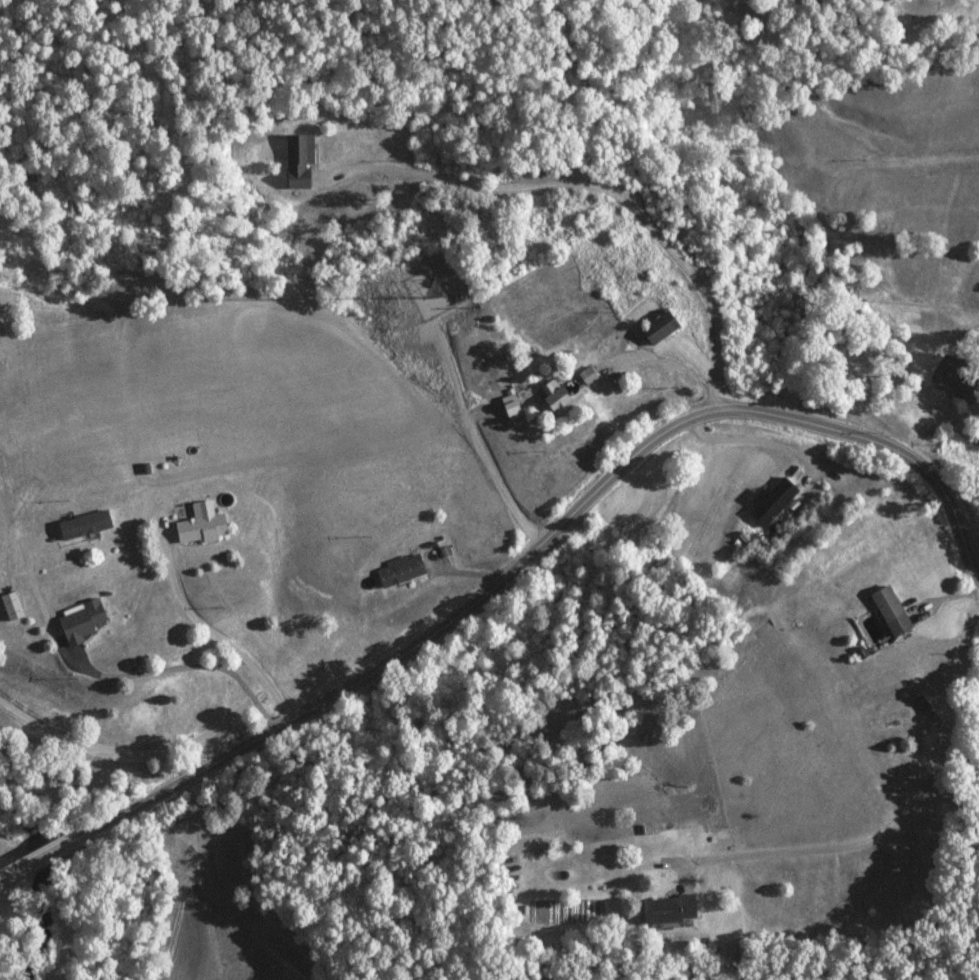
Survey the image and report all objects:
building: (300, 161)
road: (604, 188)
building: (662, 328)
building: (560, 401)
building: (775, 502)
building: (203, 525)
building: (86, 526)
road: (546, 539)
building: (402, 570)
building: (13, 607)
building: (892, 610)
building: (83, 622)
road: (188, 666)
road: (128, 752)
road: (37, 861)
road: (2, 881)
river: (25, 881)
building: (670, 909)

